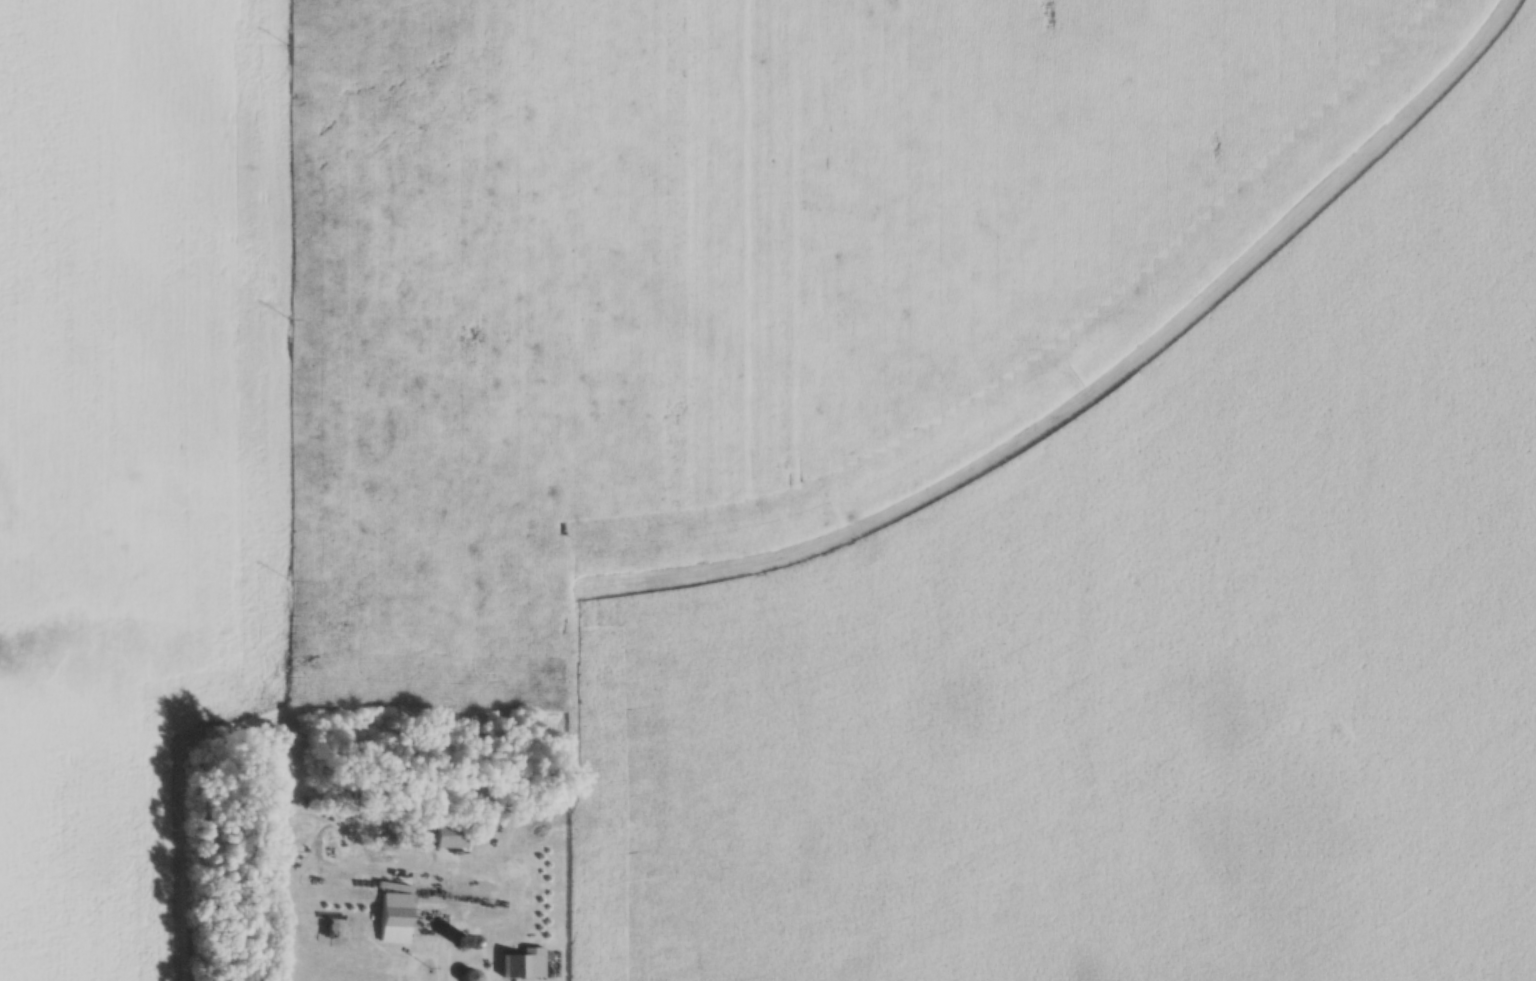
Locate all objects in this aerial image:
road: (1042, 639)
building: (451, 836)
building: (395, 917)
building: (525, 964)
building: (470, 976)

